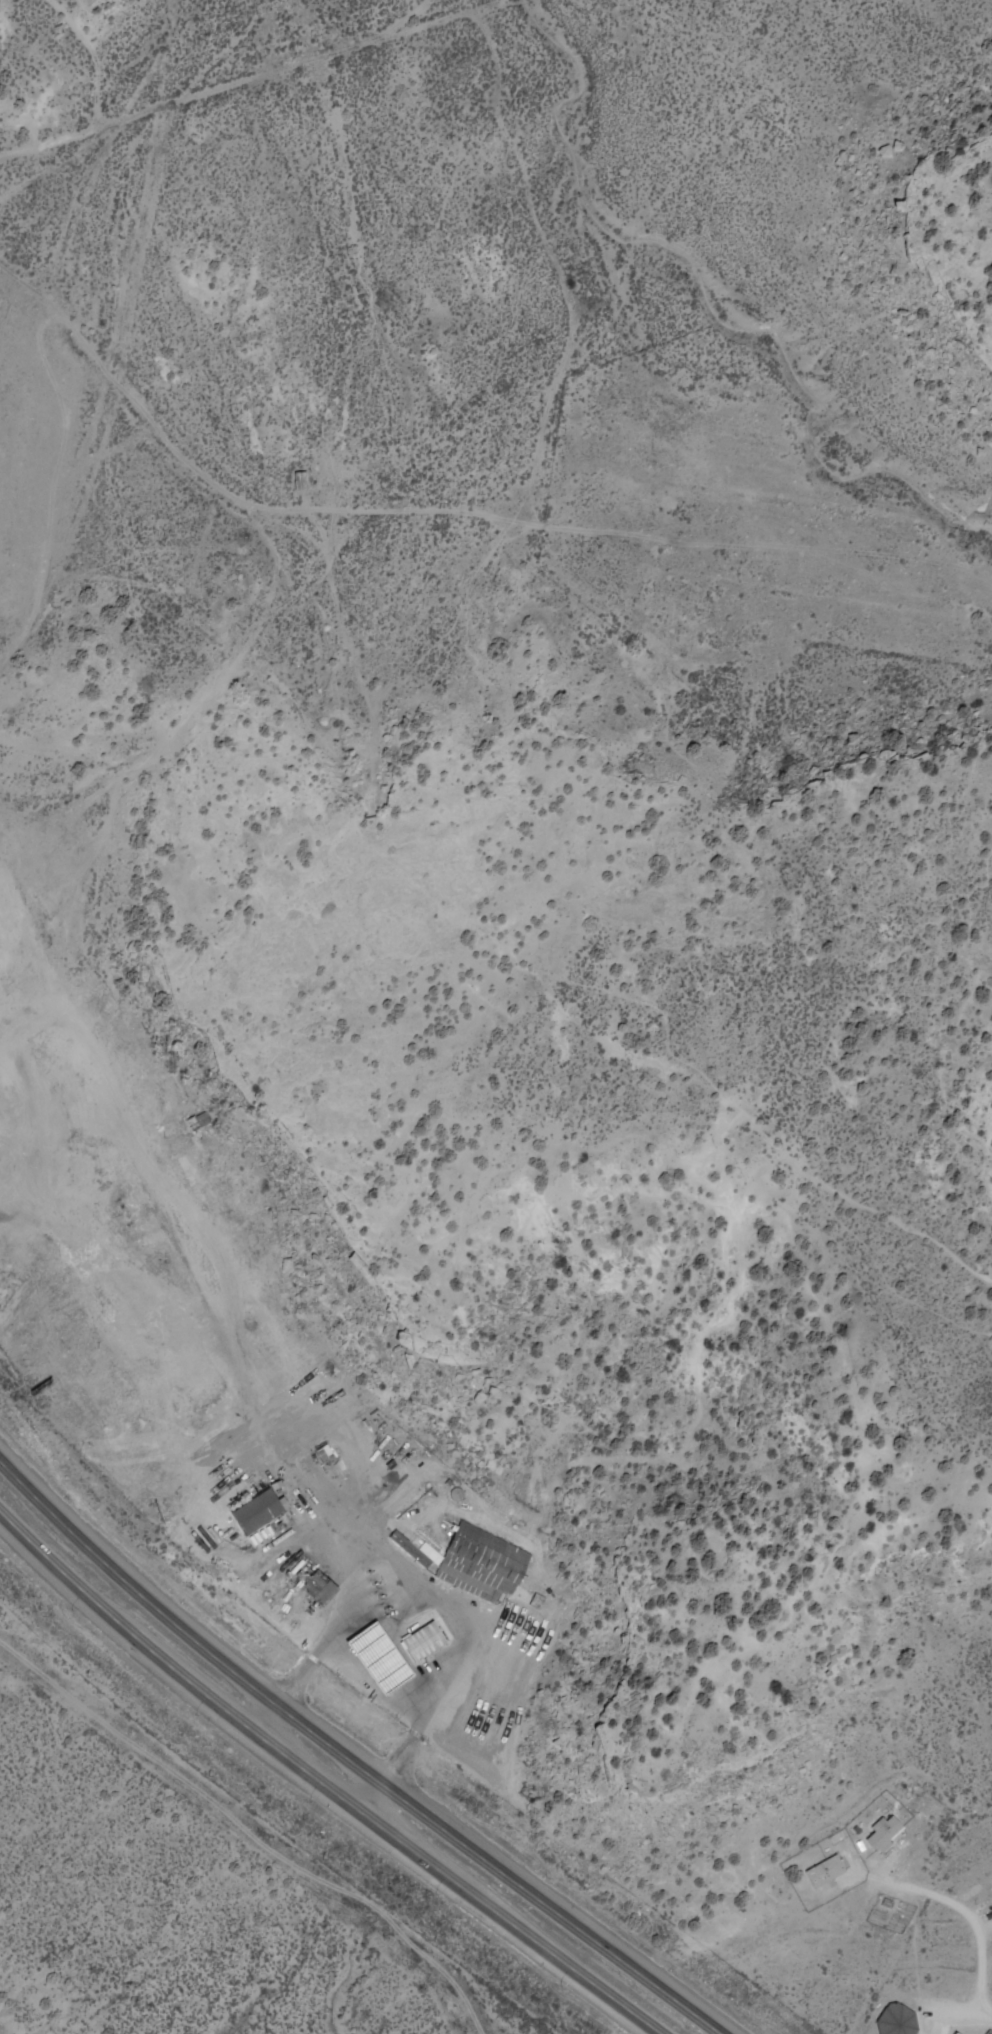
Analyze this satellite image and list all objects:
road: (90, 58)
road: (221, 92)
building: (303, 479)
road: (217, 482)
road: (199, 673)
road: (39, 949)
building: (188, 1169)
road: (240, 1341)
building: (261, 1510)
building: (318, 1583)
building: (494, 1601)
building: (427, 1640)
building: (383, 1657)
gas station: (383, 1657)
road: (349, 1759)
road: (321, 1782)
building: (886, 1832)
building: (828, 1871)
building: (901, 2019)

